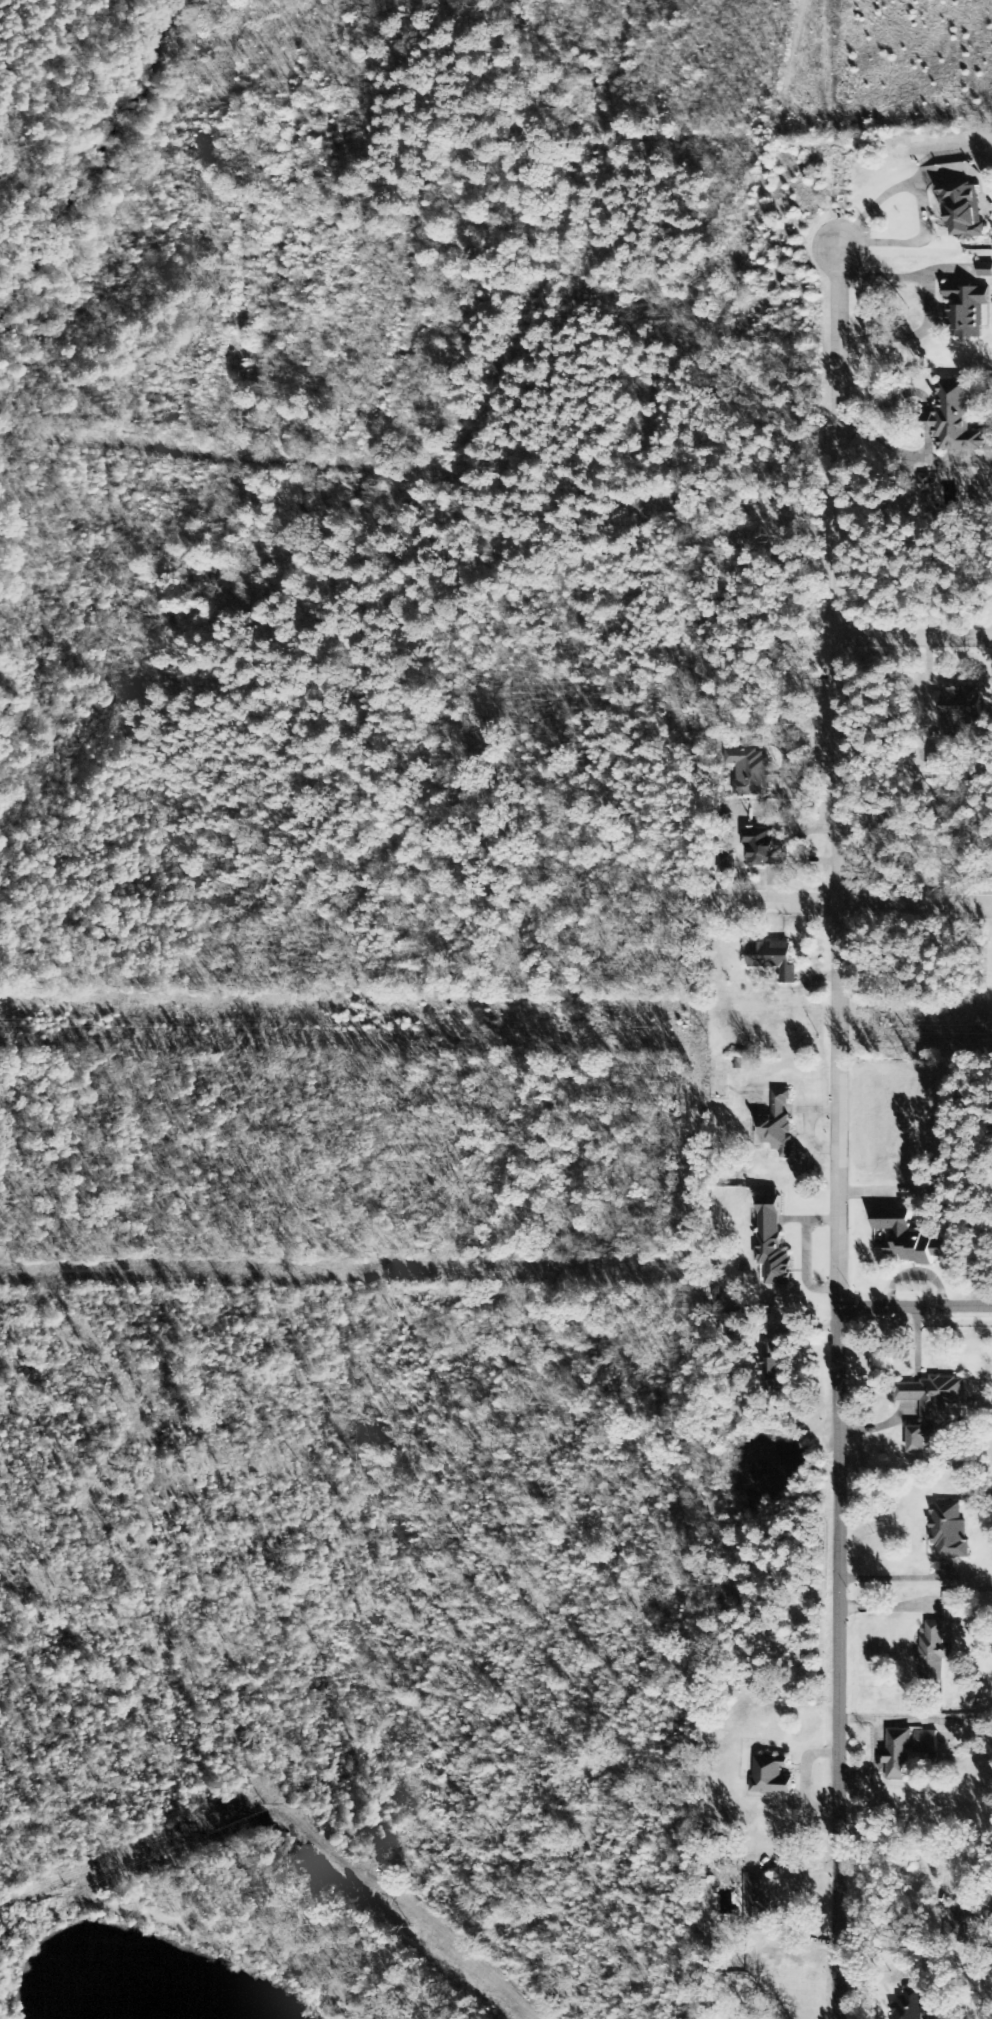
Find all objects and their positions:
building: (962, 212)
building: (967, 309)
building: (956, 421)
road: (311, 465)
road: (839, 574)
road: (915, 638)
building: (959, 709)
building: (747, 771)
building: (761, 849)
building: (724, 864)
road: (777, 901)
road: (916, 904)
building: (772, 960)
building: (778, 1125)
building: (907, 1238)
building: (771, 1247)
road: (916, 1307)
building: (773, 1366)
building: (933, 1394)
building: (920, 1439)
road: (840, 1460)
building: (949, 1531)
building: (935, 1649)
building: (908, 1748)
building: (770, 1778)
building: (757, 1898)
building: (909, 2004)
building: (748, 2018)

